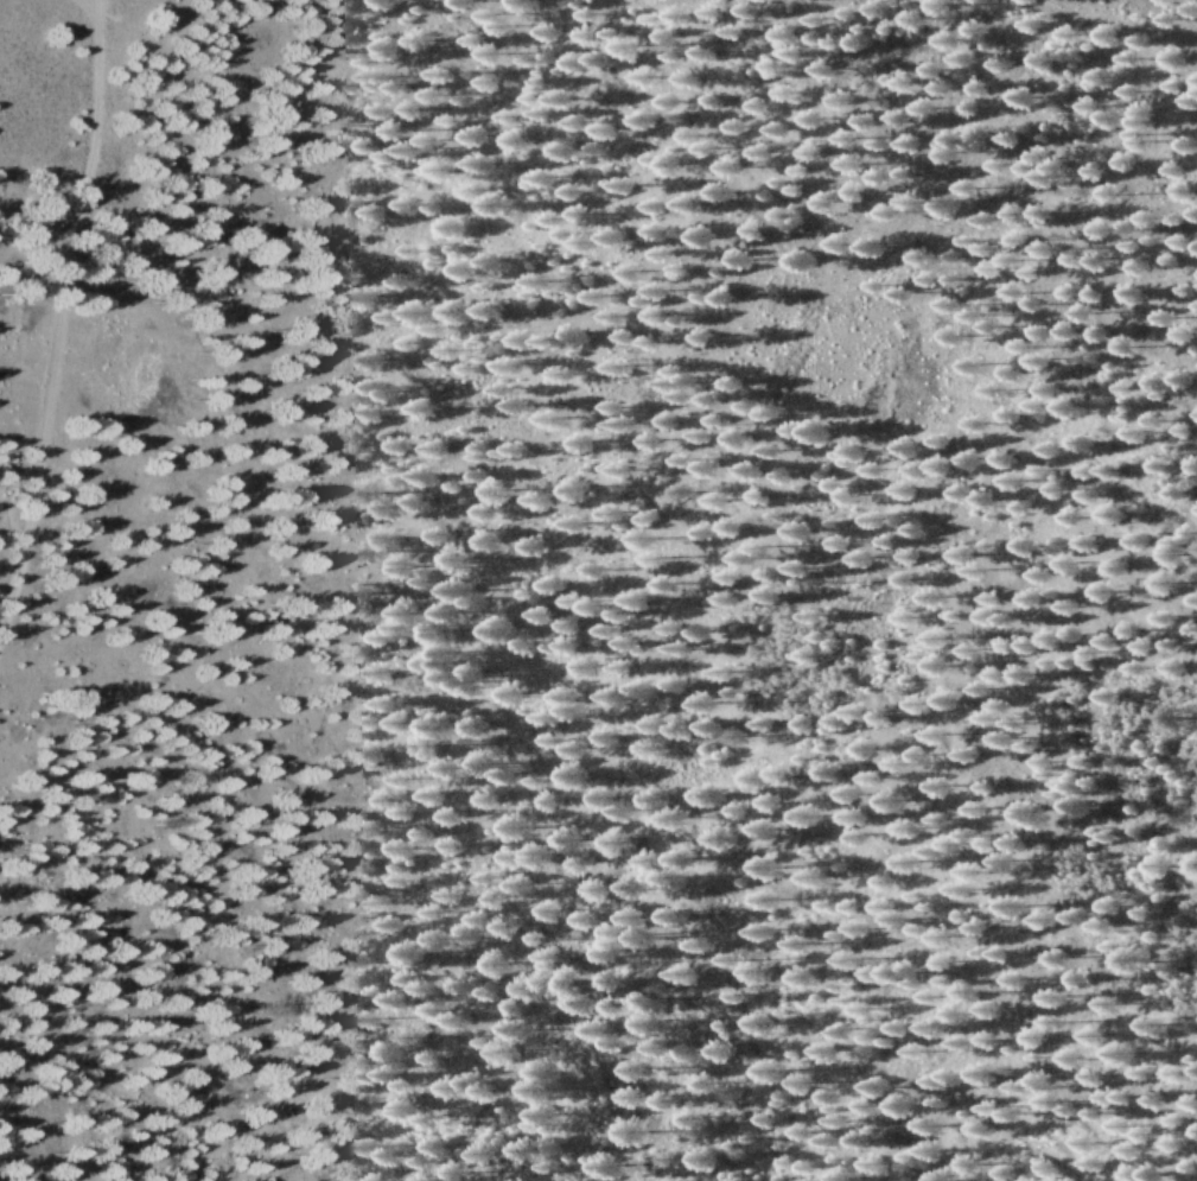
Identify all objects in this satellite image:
road: (71, 309)

